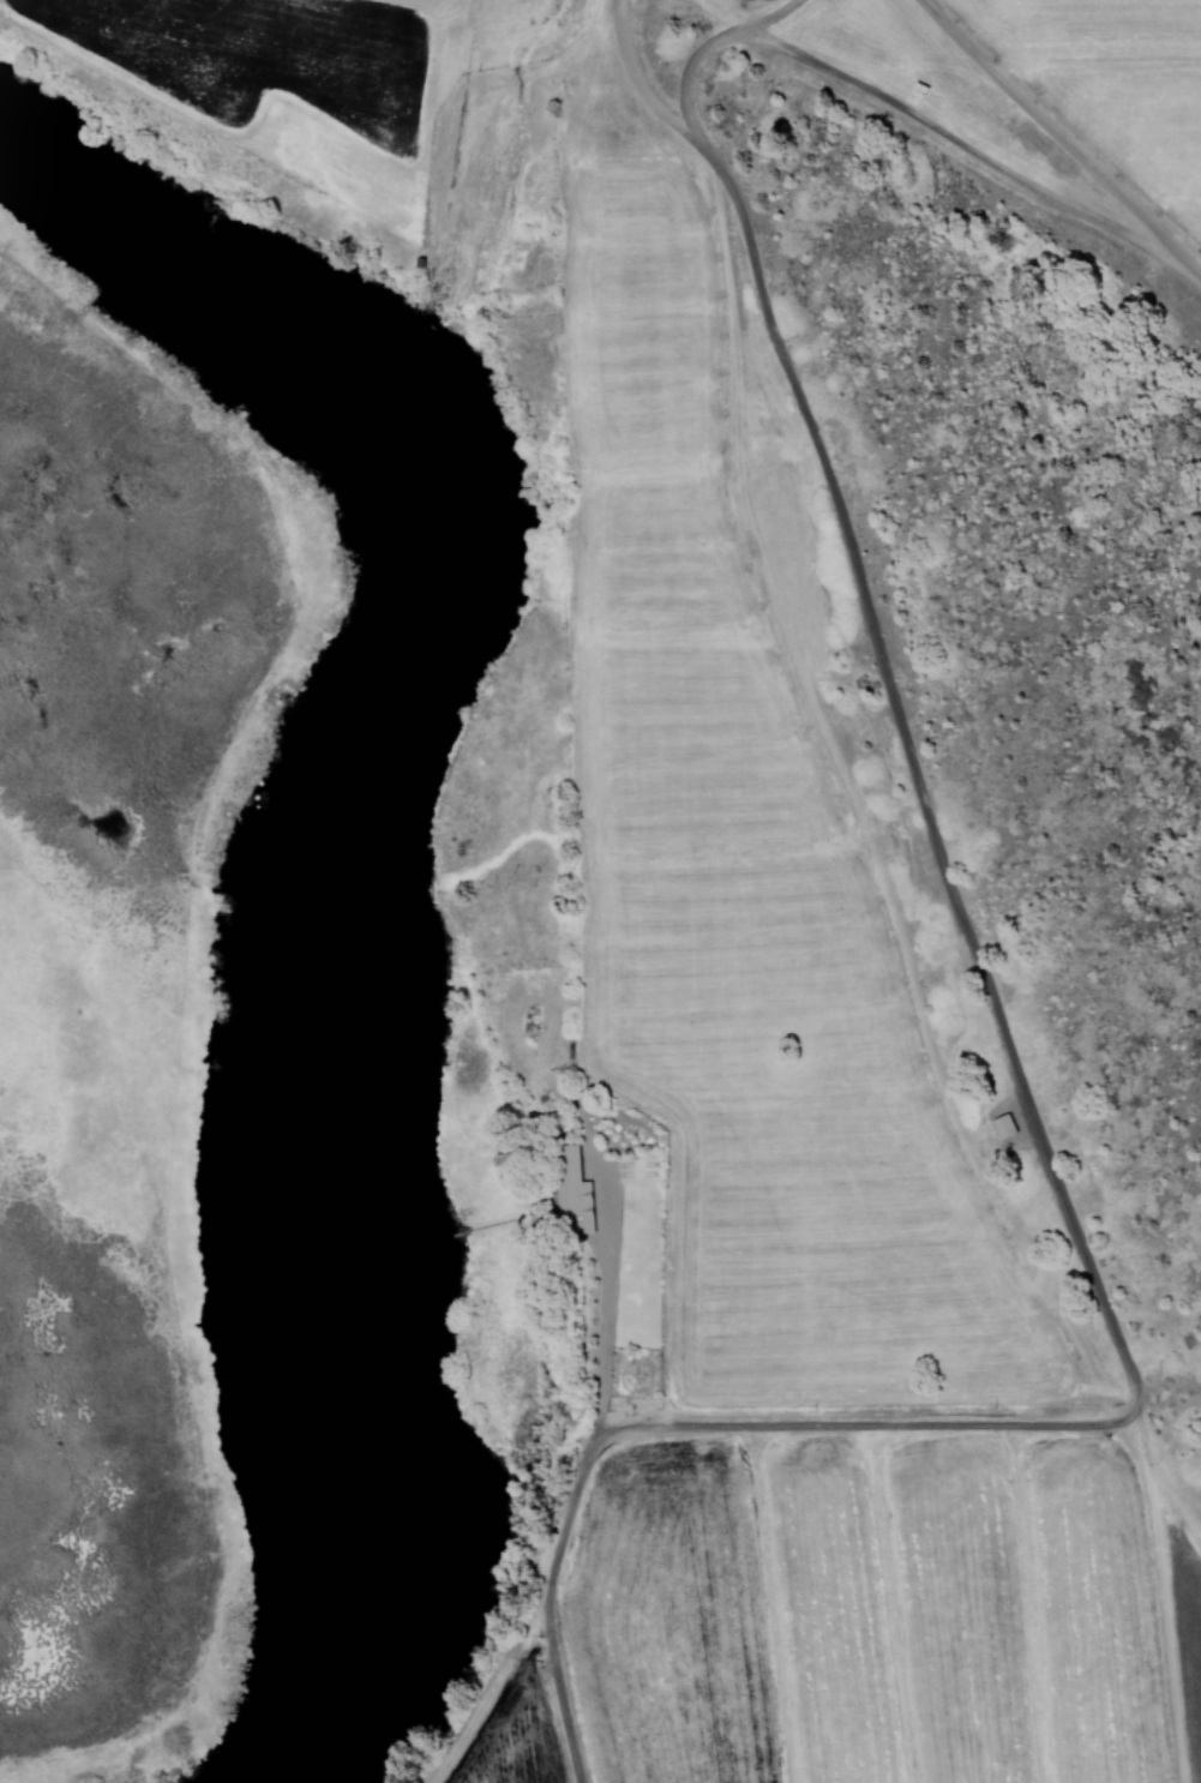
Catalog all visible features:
river: (343, 860)
building: (1002, 1125)

